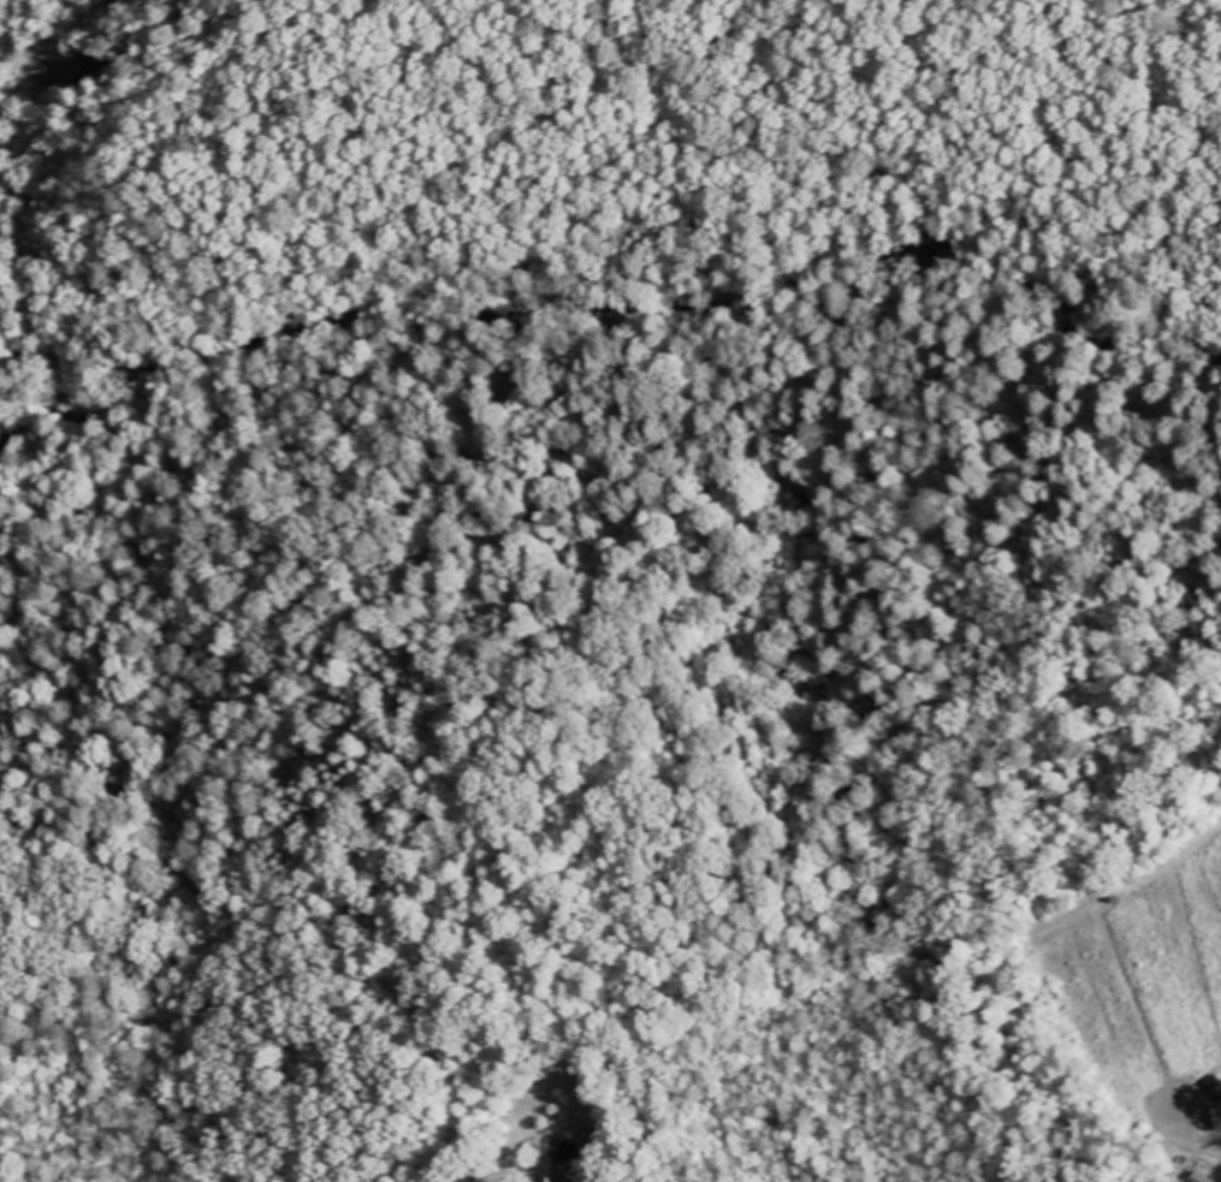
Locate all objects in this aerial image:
building: (545, 1180)

